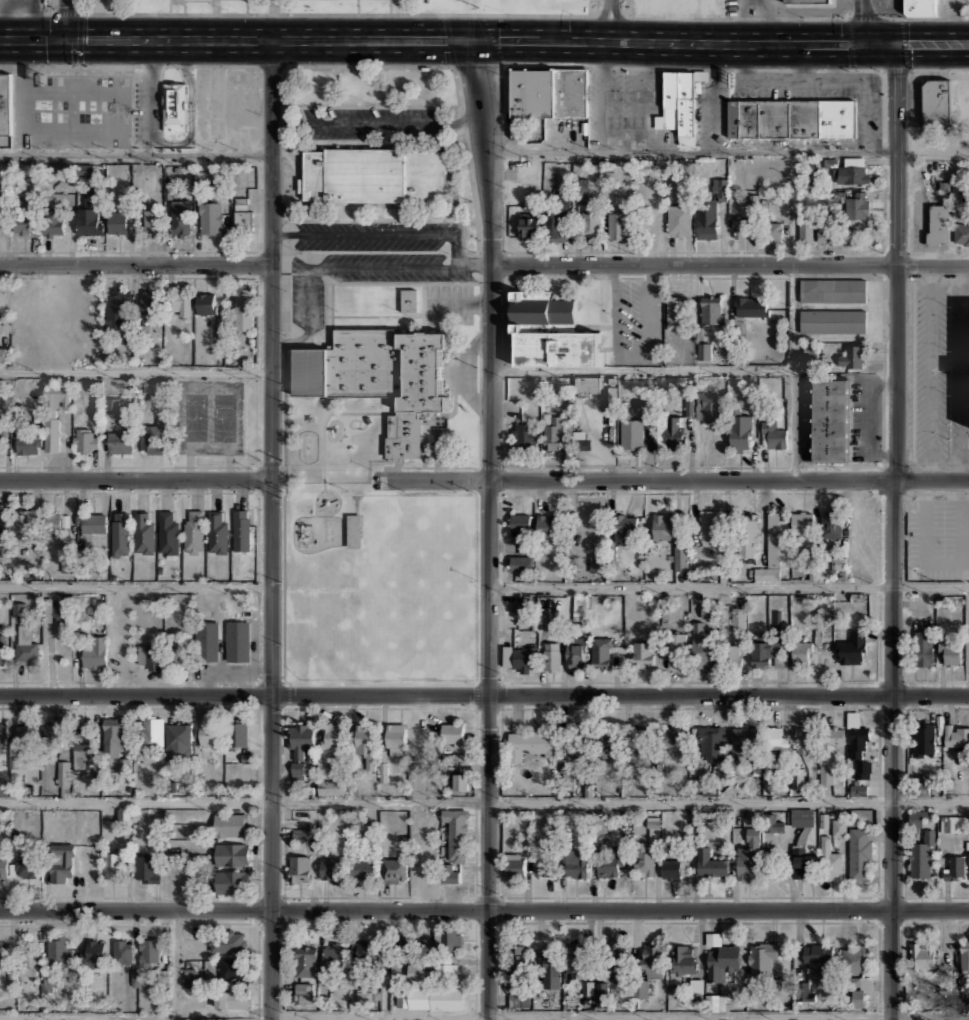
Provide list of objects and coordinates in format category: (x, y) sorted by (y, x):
building: (807, 1)
building: (919, 8)
road: (65, 20)
road: (610, 20)
road: (862, 22)
road: (484, 40)
building: (560, 91)
building: (577, 92)
building: (682, 102)
building: (936, 102)
building: (529, 103)
building: (5, 104)
building: (174, 107)
parking lot: (83, 111)
building: (733, 118)
building: (747, 118)
building: (762, 118)
building: (772, 118)
building: (783, 118)
building: (797, 118)
building: (812, 118)
building: (843, 118)
building: (824, 119)
building: (633, 121)
parking lot: (370, 123)
road: (379, 124)
road: (136, 152)
road: (693, 152)
building: (64, 170)
building: (851, 170)
building: (372, 174)
road: (294, 186)
building: (582, 188)
building: (719, 189)
building: (89, 193)
building: (857, 204)
building: (242, 215)
building: (209, 216)
building: (181, 217)
building: (558, 219)
building: (706, 219)
building: (152, 220)
building: (678, 220)
building: (88, 221)
building: (117, 221)
building: (2, 223)
building: (589, 223)
building: (22, 224)
building: (53, 224)
building: (528, 225)
building: (617, 225)
building: (938, 225)
building: (742, 229)
building: (772, 231)
building: (805, 231)
building: (961, 233)
road: (379, 234)
building: (826, 235)
parking lot: (369, 244)
road: (136, 263)
road: (731, 264)
road: (403, 266)
road: (283, 284)
building: (832, 290)
building: (408, 299)
building: (150, 302)
building: (179, 302)
building: (205, 303)
building: (117, 306)
building: (751, 306)
building: (243, 309)
building: (712, 309)
building: (675, 312)
road: (307, 317)
building: (832, 321)
building: (549, 332)
road: (283, 342)
building: (703, 350)
building: (3, 354)
building: (852, 357)
road: (136, 369)
road: (642, 370)
road: (792, 371)
building: (379, 377)
building: (587, 384)
building: (110, 403)
building: (709, 406)
building: (688, 407)
building: (53, 413)
building: (829, 420)
building: (670, 431)
building: (740, 432)
building: (554, 433)
building: (631, 433)
building: (525, 435)
building: (772, 435)
building: (151, 438)
building: (0, 439)
building: (85, 439)
building: (120, 441)
building: (27, 444)
building: (584, 445)
road: (675, 479)
road: (135, 480)
road: (129, 492)
road: (283, 519)
building: (56, 521)
building: (93, 521)
building: (520, 521)
building: (803, 522)
building: (4, 523)
building: (25, 523)
building: (546, 524)
building: (831, 524)
building: (662, 525)
building: (625, 527)
building: (710, 527)
building: (241, 529)
road: (271, 529)
building: (354, 529)
road: (488, 529)
building: (143, 531)
building: (193, 531)
road: (893, 531)
building: (217, 532)
building: (120, 533)
building: (167, 533)
building: (748, 535)
parking lot: (938, 538)
building: (774, 547)
building: (680, 557)
building: (521, 562)
building: (596, 563)
building: (838, 563)
road: (135, 584)
road: (728, 585)
building: (241, 600)
building: (580, 604)
building: (53, 606)
building: (62, 608)
building: (18, 609)
building: (708, 609)
building: (46, 610)
building: (522, 612)
building: (738, 616)
building: (779, 619)
building: (206, 640)
building: (237, 640)
building: (25, 643)
building: (701, 644)
road: (258, 647)
building: (923, 647)
building: (851, 648)
building: (2, 649)
building: (674, 649)
building: (601, 651)
building: (802, 652)
building: (575, 653)
building: (643, 653)
building: (948, 653)
building: (95, 654)
building: (767, 654)
building: (731, 655)
building: (149, 656)
building: (178, 656)
building: (551, 656)
building: (519, 657)
road: (52, 682)
road: (288, 695)
road: (484, 696)
building: (52, 730)
building: (151, 731)
building: (26, 732)
building: (209, 733)
building: (239, 733)
building: (332, 734)
building: (424, 734)
building: (453, 734)
building: (3, 735)
building: (856, 735)
building: (956, 735)
building: (113, 736)
building: (672, 736)
building: (774, 737)
building: (803, 737)
building: (396, 738)
building: (637, 738)
building: (742, 738)
building: (924, 739)
building: (178, 740)
building: (610, 740)
building: (711, 741)
building: (366, 742)
building: (579, 742)
building: (531, 743)
building: (300, 747)
road: (283, 748)
building: (829, 750)
building: (81, 751)
building: (863, 769)
building: (63, 773)
building: (799, 778)
building: (460, 781)
building: (331, 786)
building: (858, 789)
road: (484, 804)
building: (125, 815)
building: (753, 815)
building: (917, 816)
building: (801, 817)
building: (772, 822)
building: (952, 823)
building: (231, 825)
building: (839, 826)
building: (652, 828)
building: (456, 832)
building: (300, 835)
building: (232, 853)
building: (859, 853)
building: (749, 856)
building: (922, 856)
building: (968, 858)
building: (642, 860)
building: (829, 860)
building: (62, 862)
building: (575, 862)
building: (542, 863)
building: (610, 863)
building: (802, 863)
building: (26, 864)
building: (112, 864)
building: (514, 864)
building: (710, 864)
building: (3, 866)
building: (955, 866)
building: (146, 867)
building: (299, 867)
building: (364, 867)
building: (331, 868)
building: (674, 868)
building: (394, 869)
building: (451, 873)
building: (232, 881)
road: (484, 910)
building: (227, 940)
building: (447, 940)
building: (366, 949)
building: (58, 950)
building: (93, 950)
building: (122, 950)
building: (921, 950)
building: (149, 951)
building: (2, 953)
building: (335, 954)
building: (964, 955)
building: (761, 956)
building: (613, 957)
building: (817, 957)
building: (855, 957)
building: (721, 958)
building: (306, 960)
building: (651, 960)
building: (551, 961)
building: (575, 961)
building: (682, 962)
road: (176, 965)
building: (518, 965)
building: (230, 967)
building: (35, 969)
building: (416, 969)
building: (444, 969)
building: (193, 976)
building: (367, 984)
building: (588, 988)
building: (642, 988)
building: (696, 988)
building: (859, 989)
building: (303, 992)
building: (600, 992)
building: (804, 992)
building: (365, 998)
building: (412, 998)
building: (444, 999)
building: (232, 1000)
building: (521, 1000)
building: (717, 1001)
building: (939, 1003)
road: (484, 1016)
road: (384, 1019)

